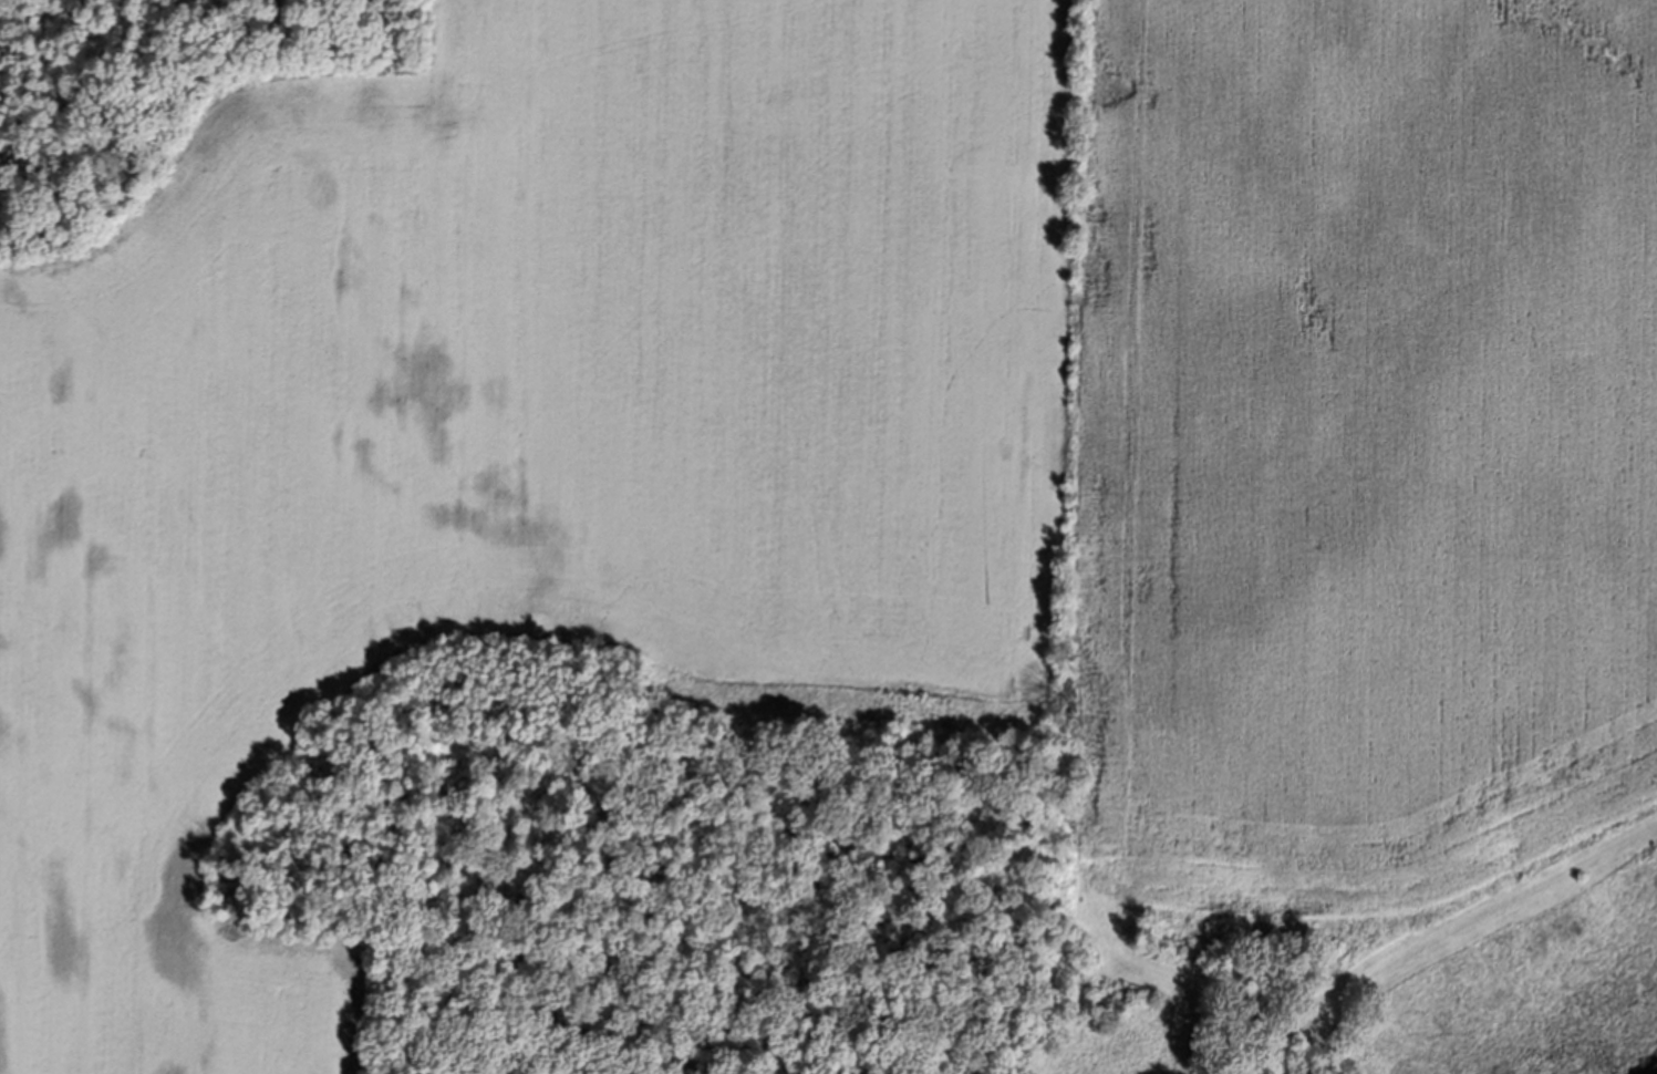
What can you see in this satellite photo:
building: (290, 9)

